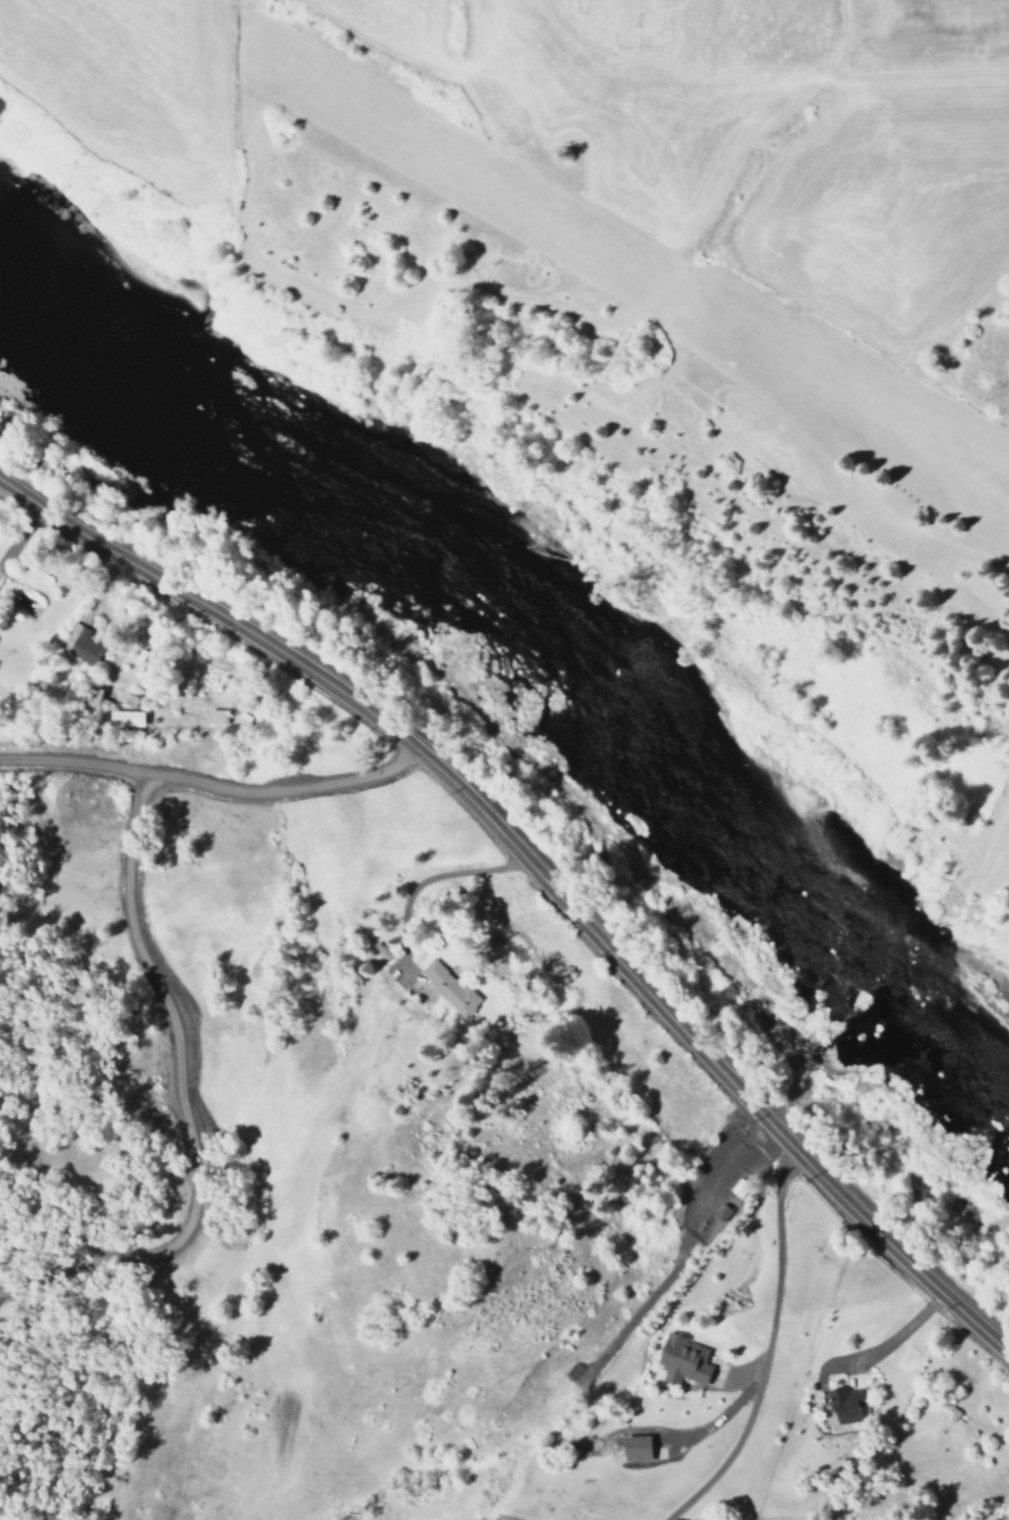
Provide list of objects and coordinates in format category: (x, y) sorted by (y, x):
airport runway: (640, 278)
airport: (668, 438)
building: (80, 643)
river: (525, 667)
building: (94, 698)
building: (215, 716)
building: (125, 718)
road: (83, 765)
road: (539, 871)
building: (379, 951)
road: (146, 969)
building: (447, 988)
building: (721, 1212)
road: (679, 1256)
road: (7, 1298)
road: (767, 1347)
building: (681, 1361)
building: (842, 1407)
building: (635, 1448)

